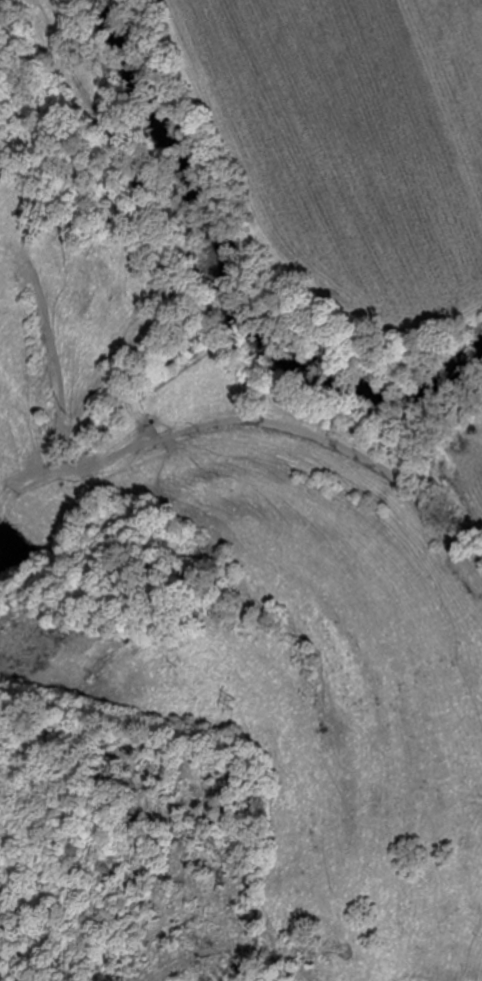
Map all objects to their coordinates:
road: (233, 395)

